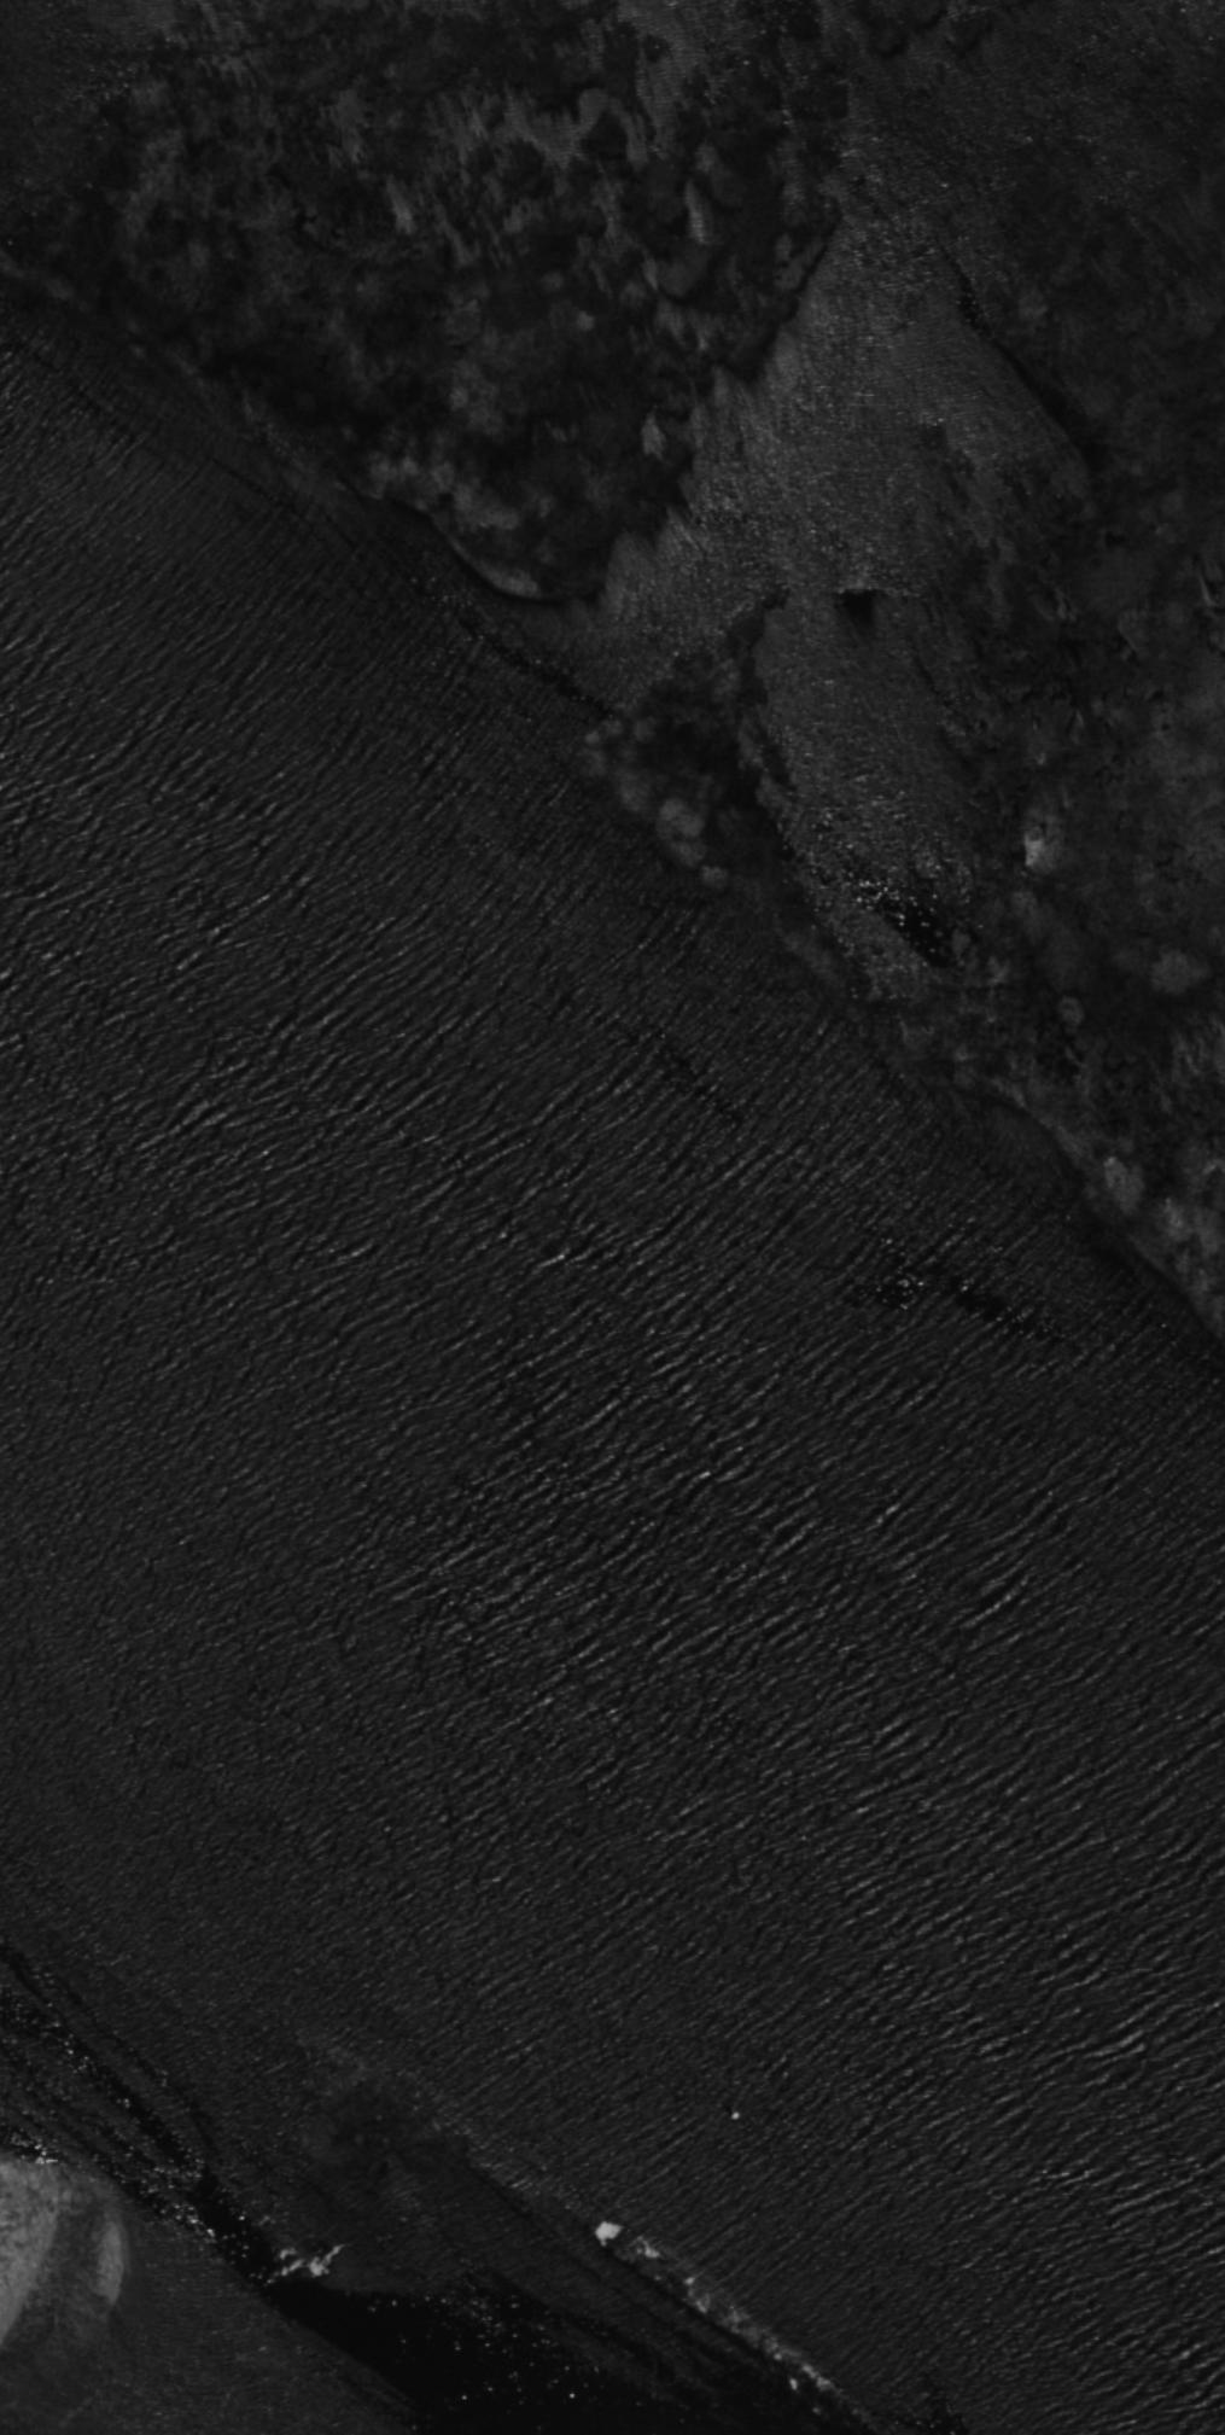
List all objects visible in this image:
river: (630, 1658)

